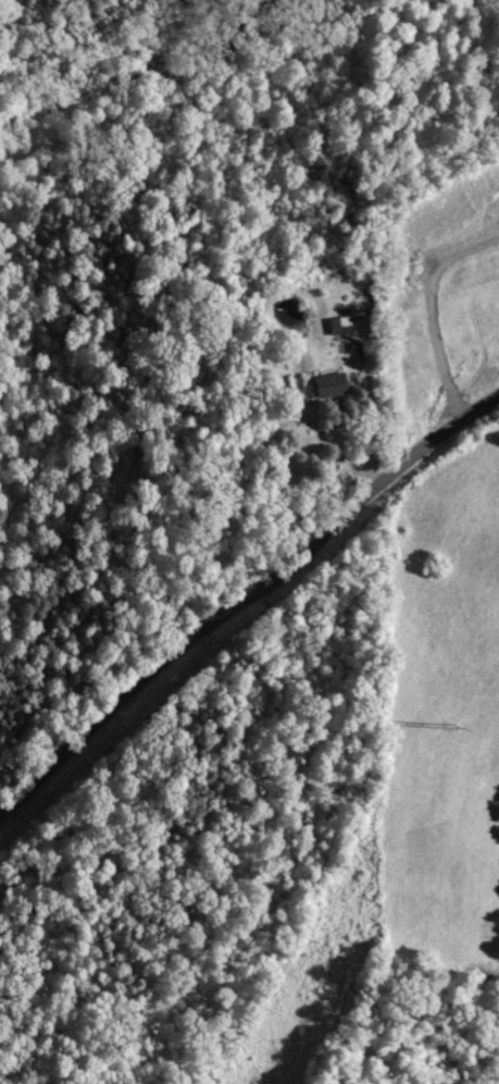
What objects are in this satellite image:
building: (338, 322)
building: (325, 384)
road: (242, 592)

